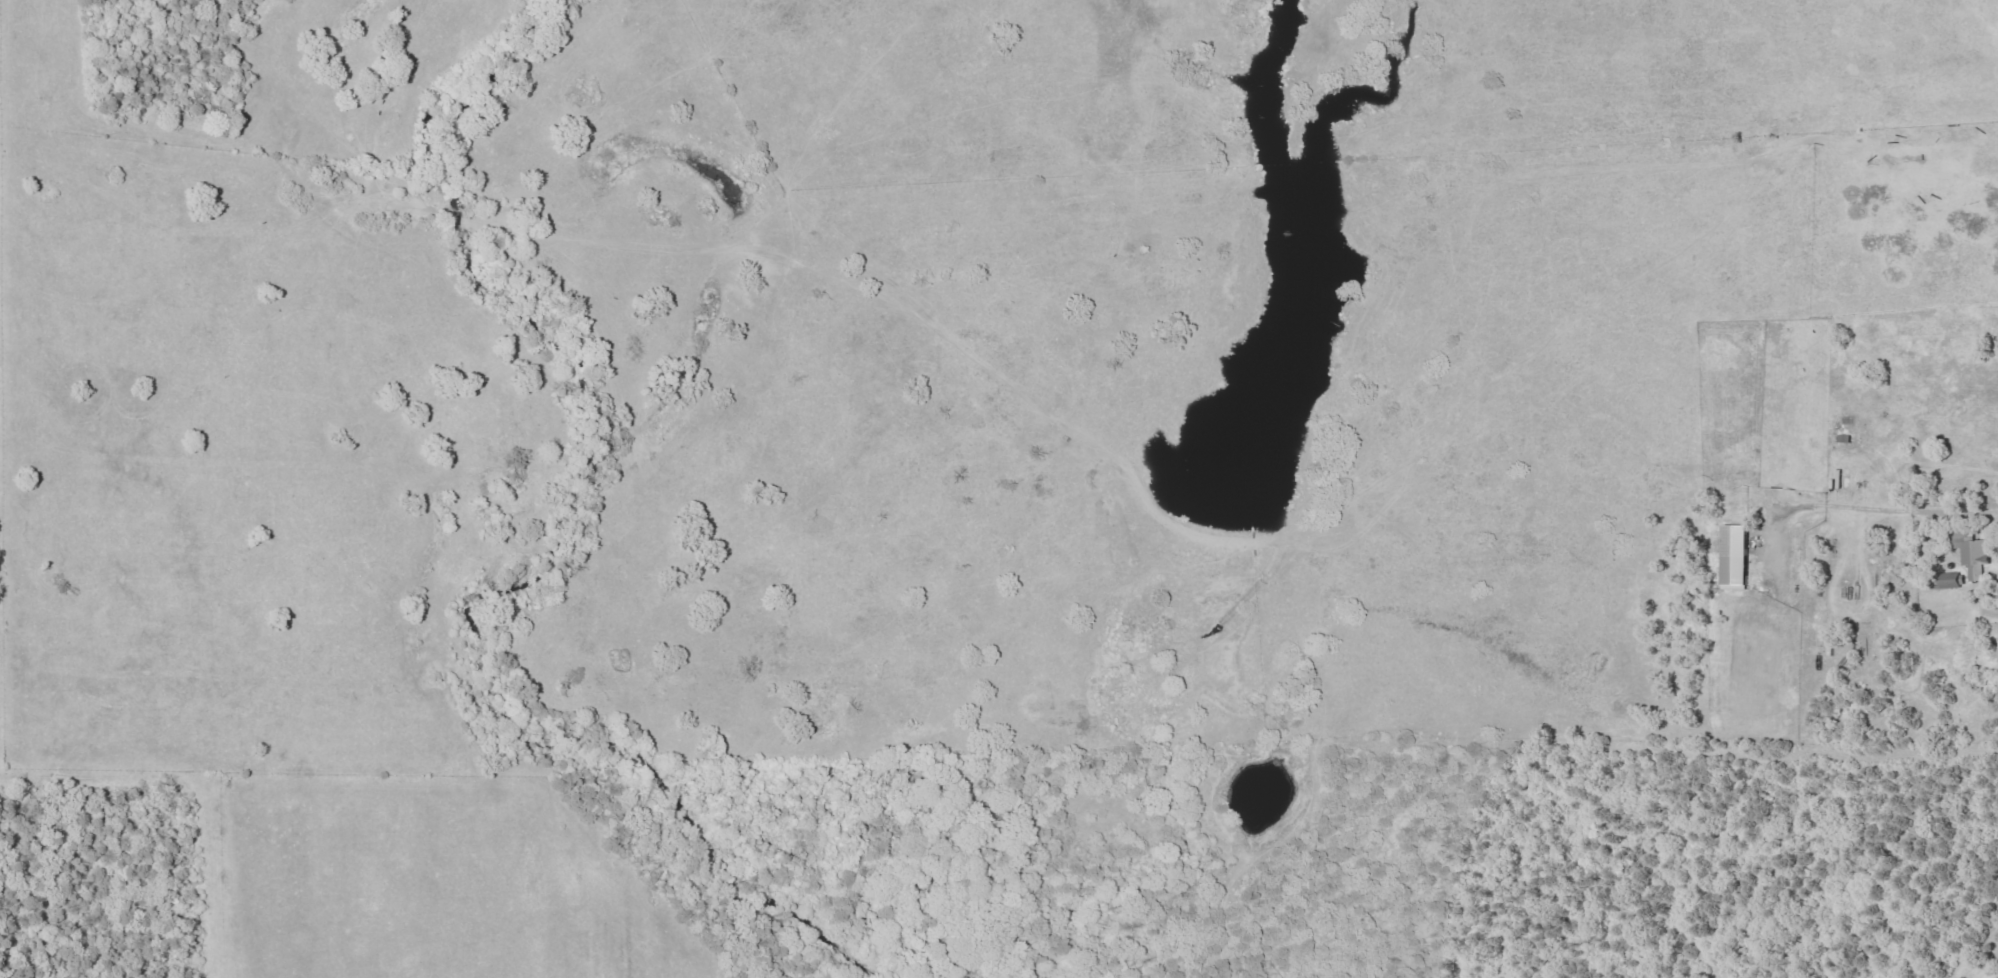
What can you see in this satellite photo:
building: (1973, 553)
building: (1737, 554)
building: (1952, 583)

